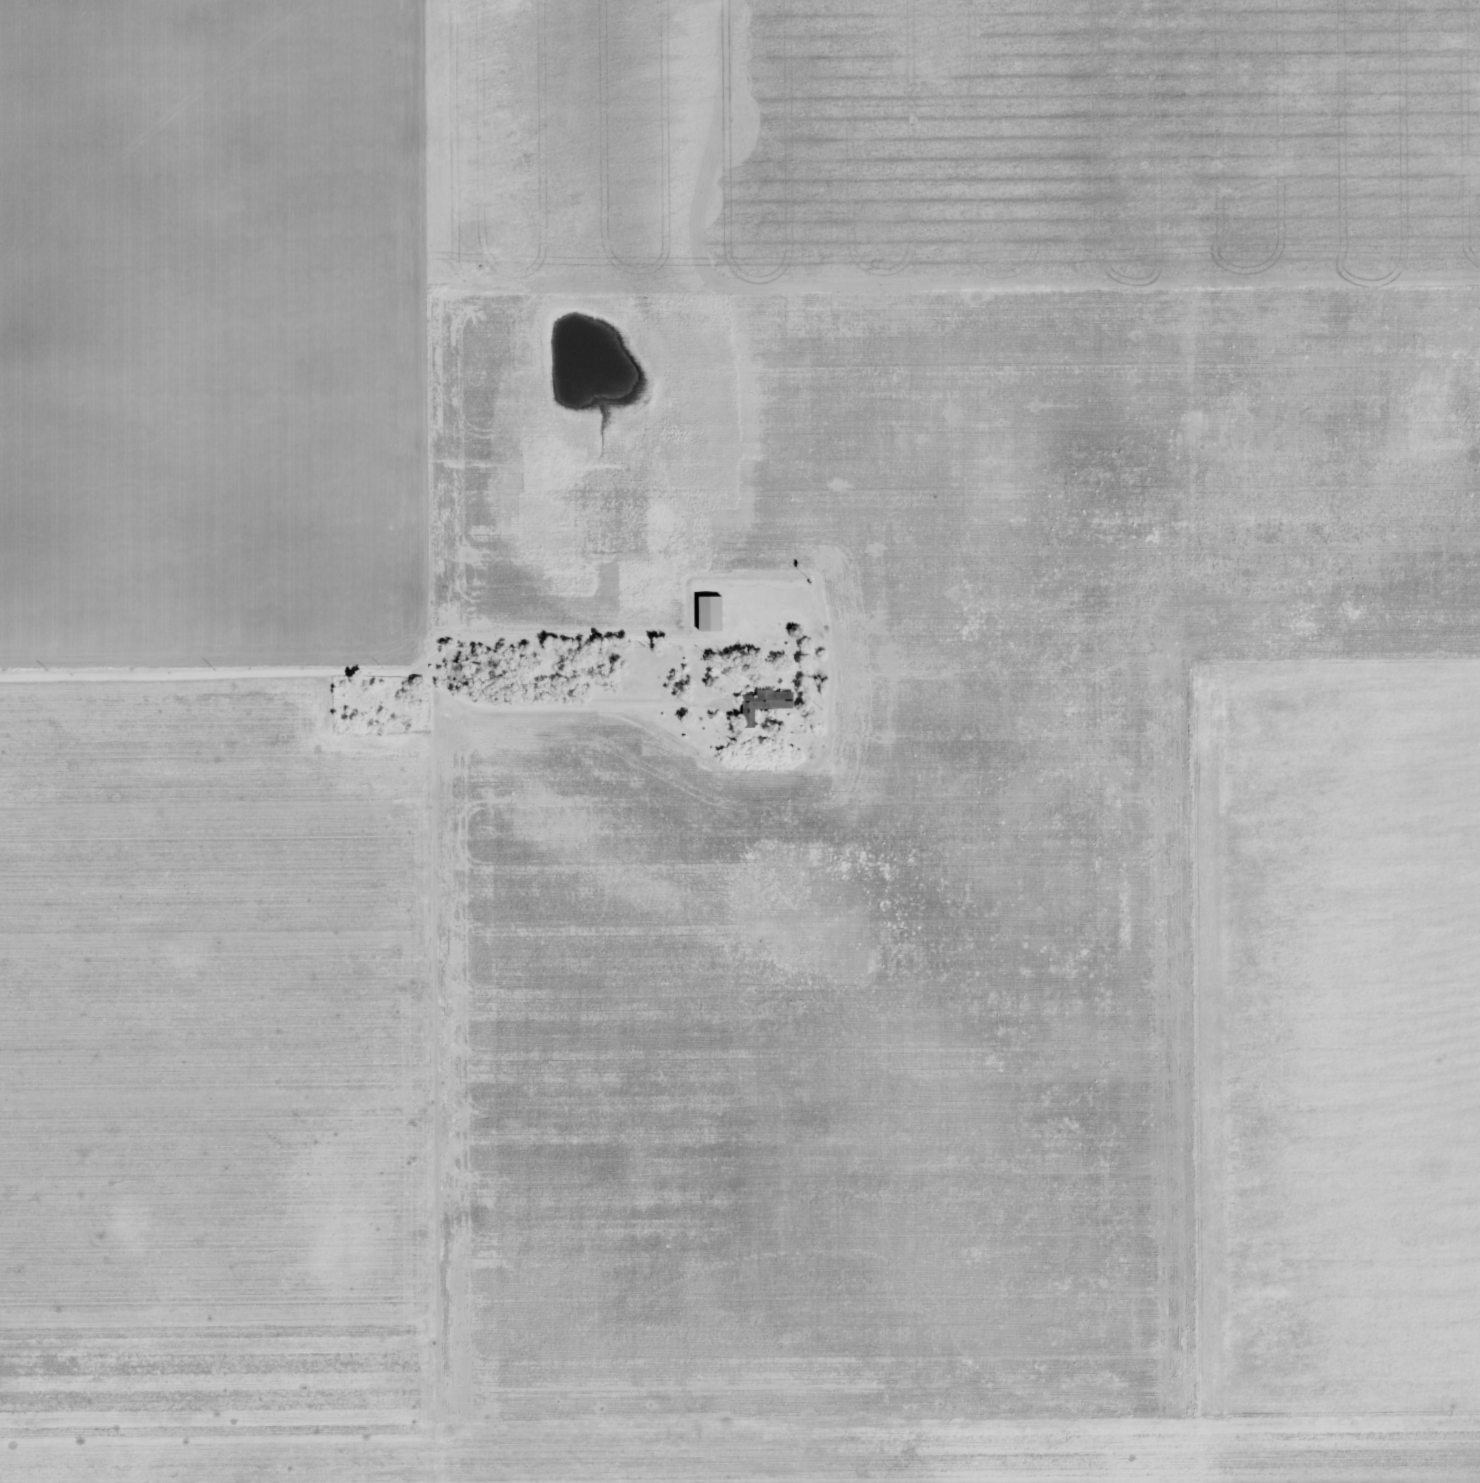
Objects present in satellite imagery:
road: (863, 639)
building: (764, 703)
road: (409, 1076)

